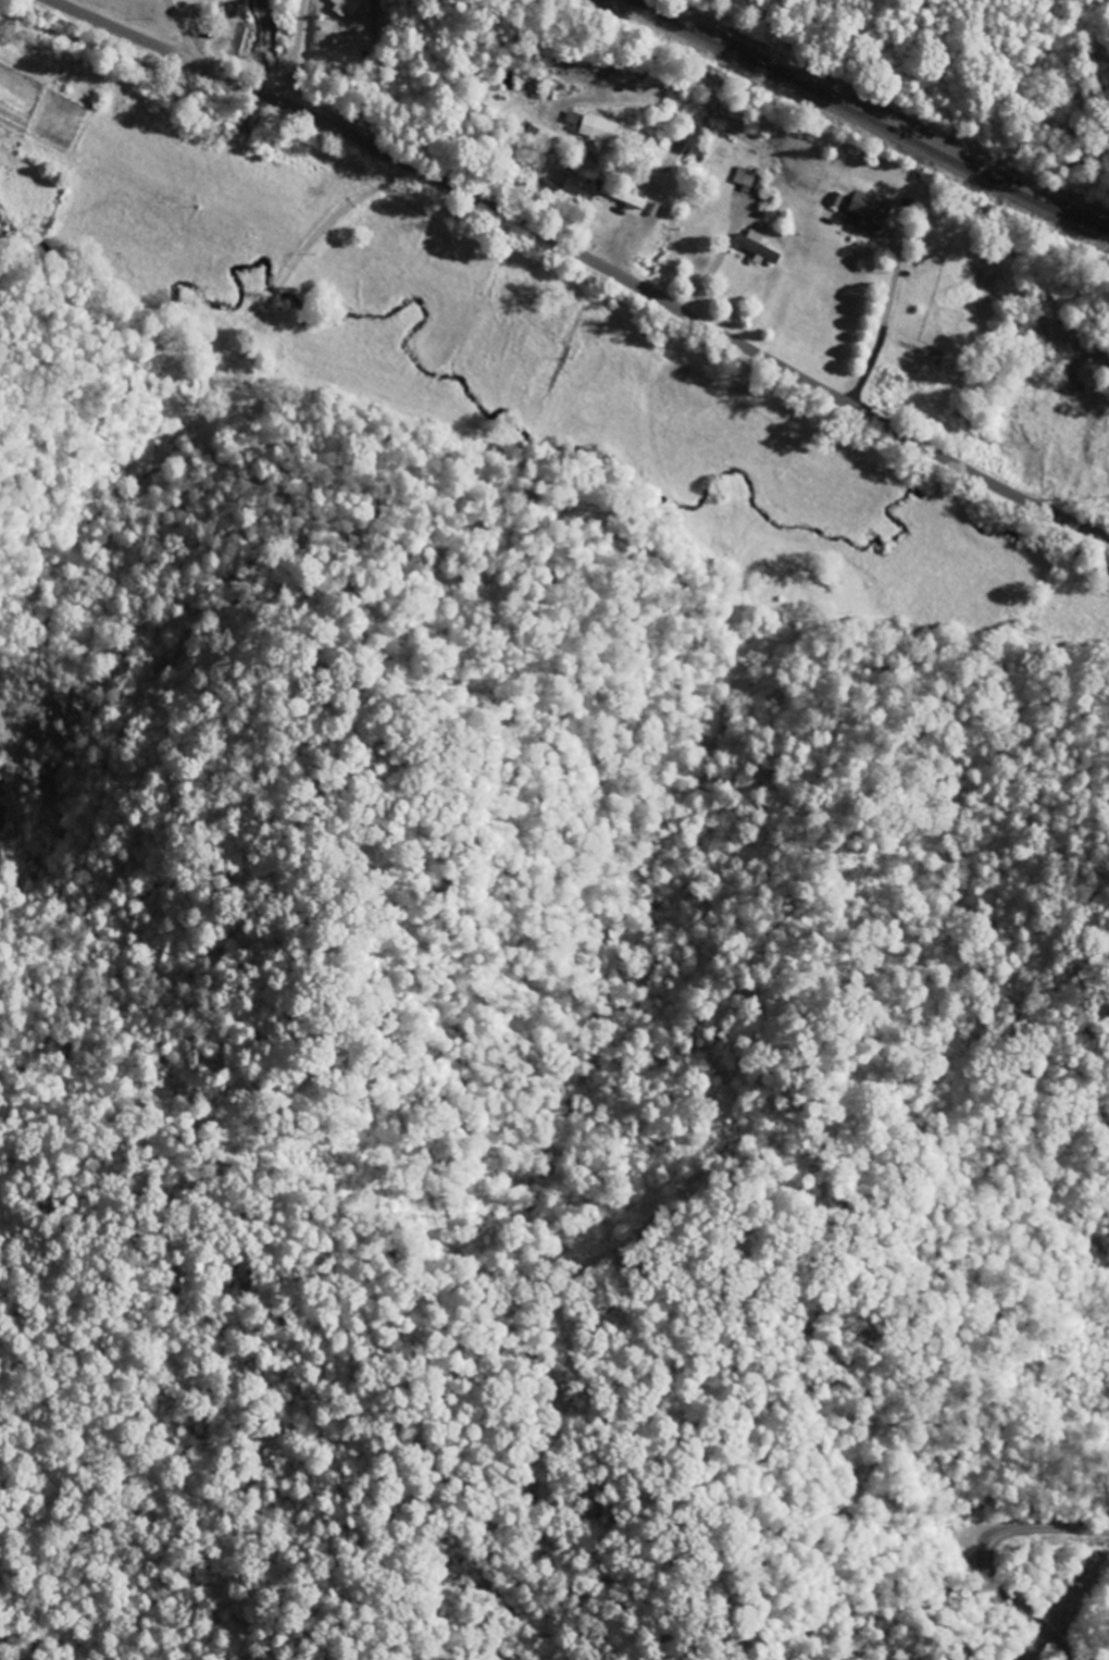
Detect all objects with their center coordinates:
building: (348, 7)
building: (573, 117)
railway: (873, 117)
building: (600, 128)
building: (745, 177)
building: (624, 196)
road: (587, 257)

